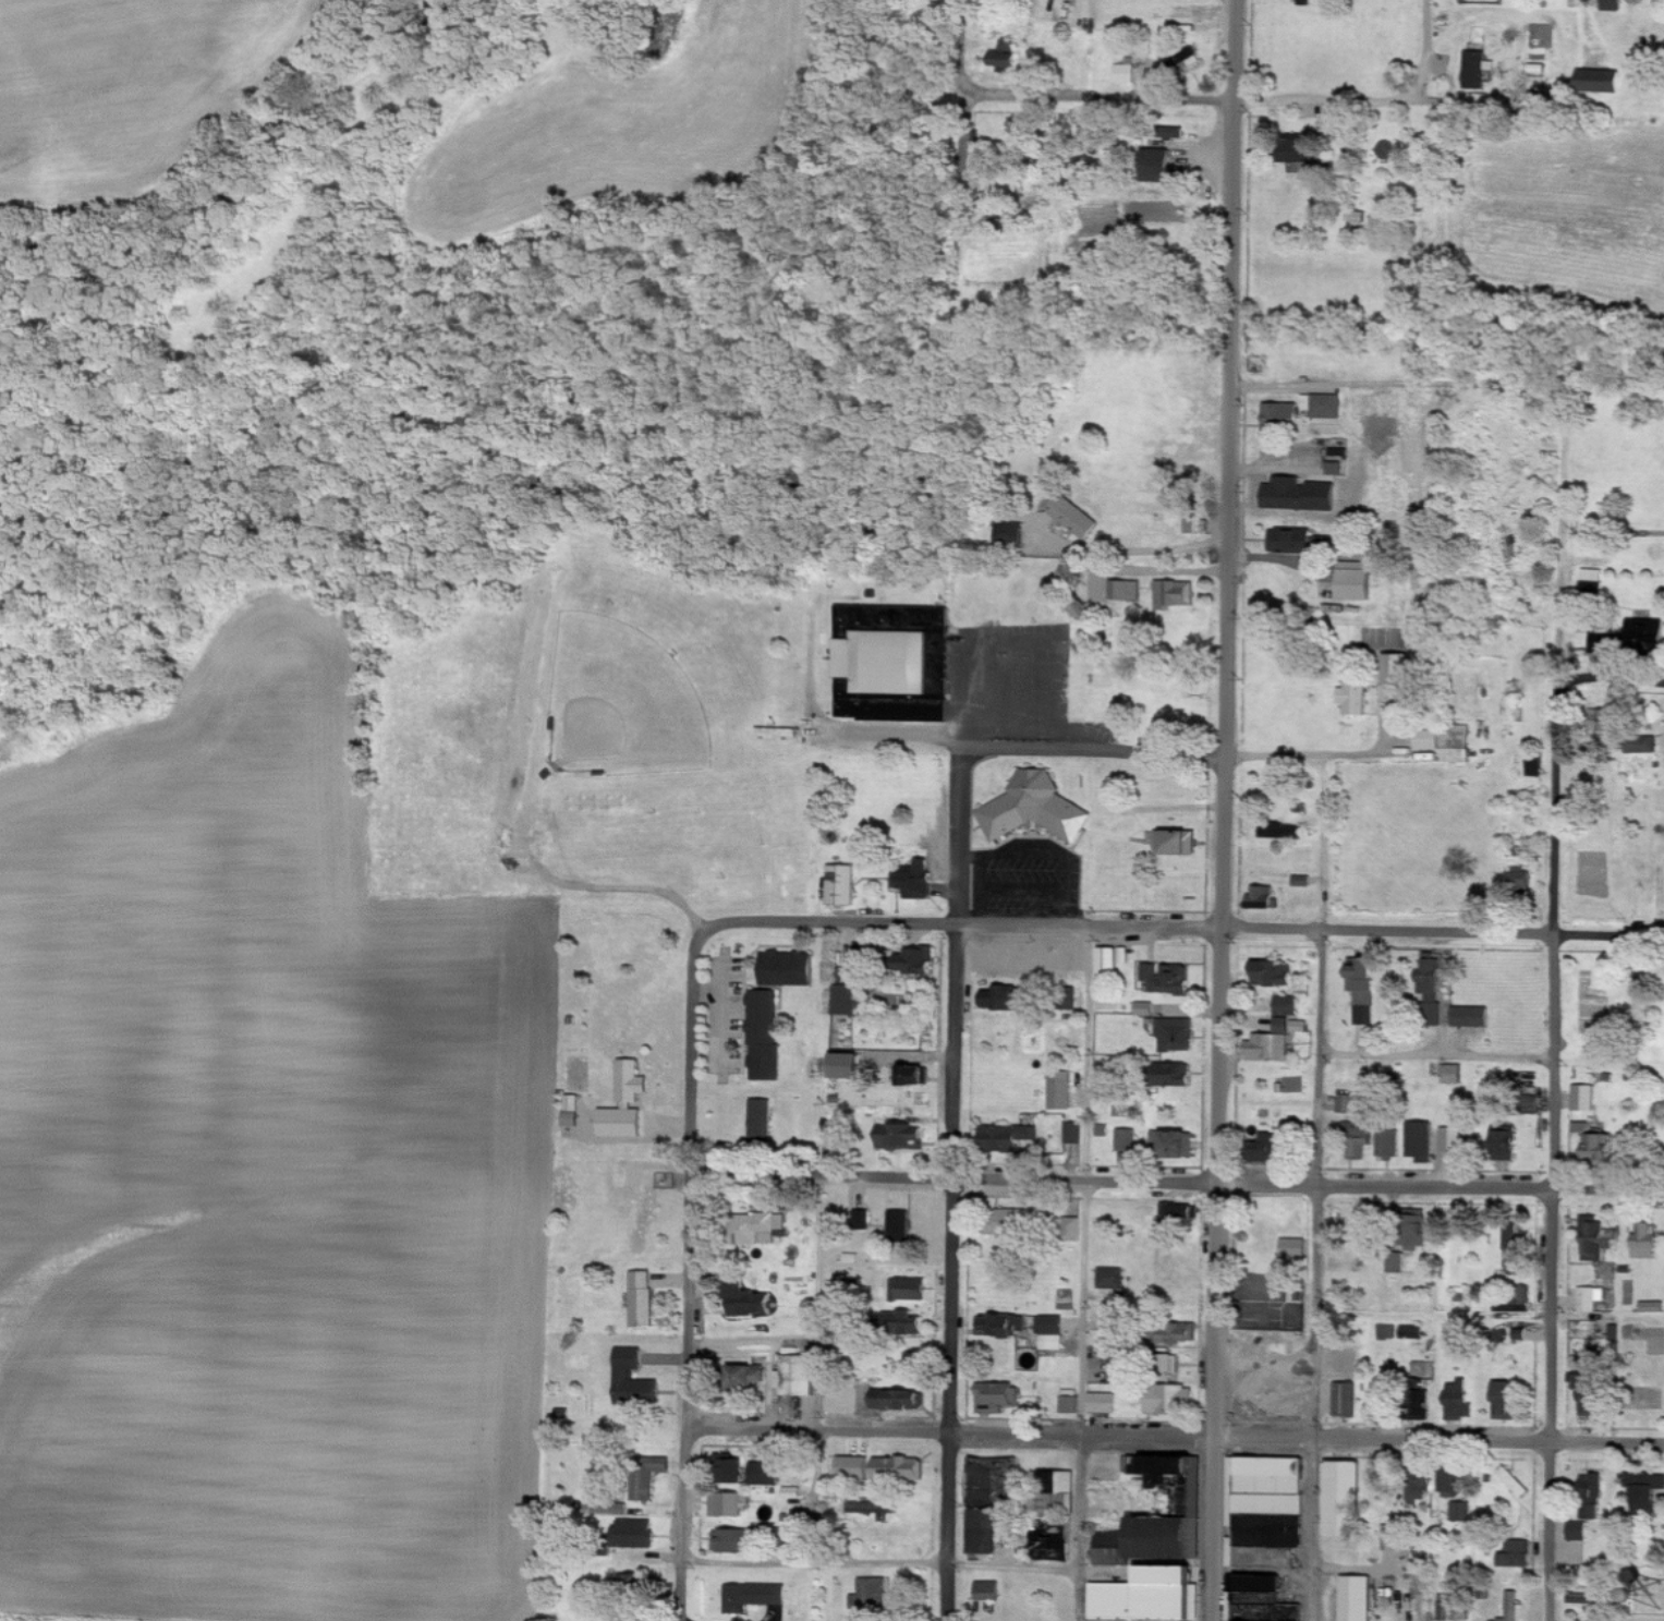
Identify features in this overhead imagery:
building: (1613, 4)
road: (965, 47)
road: (1425, 48)
building: (1008, 57)
building: (1474, 70)
building: (1126, 73)
building: (1537, 80)
building: (1601, 81)
road: (1092, 96)
road: (1316, 100)
building: (1300, 153)
building: (1159, 165)
road: (1383, 384)
building: (1321, 406)
building: (1282, 416)
building: (1335, 468)
building: (1282, 496)
building: (1076, 517)
building: (1190, 521)
building: (1013, 535)
building: (1291, 540)
road: (1126, 551)
building: (1591, 579)
building: (1359, 580)
building: (1125, 590)
building: (1175, 593)
building: (1649, 631)
building: (1600, 645)
building: (892, 663)
road: (1614, 691)
building: (1356, 695)
road: (1013, 723)
road: (912, 734)
building: (1430, 739)
building: (1643, 743)
building: (1457, 746)
road: (1351, 749)
road: (1128, 753)
building: (1535, 766)
building: (1035, 808)
road: (1210, 810)
building: (1282, 830)
building: (1178, 840)
building: (1523, 875)
building: (915, 880)
building: (1300, 881)
building: (841, 884)
road: (619, 891)
building: (1263, 897)
road: (1182, 927)
building: (918, 960)
building: (1113, 960)
building: (787, 968)
building: (1277, 972)
building: (1167, 978)
building: (1432, 980)
building: (1364, 987)
building: (1000, 997)
building: (845, 999)
road: (1553, 1003)
building: (1288, 1005)
building: (1145, 1008)
building: (1473, 1016)
building: (764, 1035)
building: (1178, 1035)
building: (1272, 1042)
road: (1435, 1055)
building: (847, 1065)
building: (1455, 1073)
building: (1177, 1074)
building: (921, 1075)
building: (1059, 1090)
building: (1584, 1098)
building: (627, 1102)
building: (1350, 1103)
building: (571, 1110)
building: (762, 1121)
building: (1584, 1126)
building: (1072, 1133)
building: (900, 1136)
building: (1362, 1137)
building: (1010, 1138)
building: (1126, 1139)
building: (1454, 1139)
building: (1422, 1140)
building: (1390, 1141)
building: (1174, 1142)
building: (1510, 1144)
building: (1272, 1146)
building: (1602, 1148)
road: (1317, 1180)
road: (1176, 1183)
road: (952, 1184)
building: (1180, 1212)
building: (862, 1220)
building: (1010, 1223)
building: (899, 1224)
building: (761, 1227)
building: (1072, 1229)
building: (1418, 1229)
building: (1595, 1239)
building: (1649, 1239)
building: (1295, 1247)
building: (1515, 1251)
building: (1396, 1263)
road: (1083, 1272)
road: (688, 1274)
building: (1110, 1278)
building: (911, 1289)
building: (746, 1296)
building: (642, 1298)
building: (1591, 1298)
building: (1516, 1301)
building: (1653, 1306)
building: (908, 1322)
building: (1003, 1324)
building: (1412, 1331)
building: (1049, 1332)
building: (1179, 1333)
building: (1121, 1369)
building: (801, 1375)
building: (752, 1376)
building: (634, 1380)
building: (1588, 1393)
building: (997, 1396)
building: (900, 1399)
building: (1347, 1399)
building: (1459, 1399)
building: (1171, 1400)
building: (1506, 1400)
building: (1102, 1402)
building: (1276, 1402)
building: (1069, 1404)
road: (1175, 1436)
building: (657, 1464)
building: (855, 1467)
building: (1171, 1467)
building: (731, 1468)
building: (899, 1468)
building: (765, 1474)
building: (1515, 1481)
building: (1059, 1484)
building: (1270, 1484)
building: (1436, 1485)
building: (1592, 1485)
building: (643, 1487)
building: (1647, 1491)
building: (792, 1492)
building: (1343, 1498)
building: (730, 1504)
building: (612, 1508)
building: (873, 1508)
building: (1461, 1511)
building: (1594, 1511)
building: (984, 1531)
building: (1579, 1531)
building: (637, 1534)
building: (1387, 1534)
building: (1264, 1536)
building: (1168, 1538)
building: (731, 1540)
building: (1112, 1548)
building: (1517, 1555)
road: (882, 1565)
road: (1380, 1569)
building: (628, 1582)
building: (1263, 1584)
building: (987, 1590)
building: (753, 1596)
building: (1152, 1596)
building: (870, 1597)
building: (1583, 1597)
building: (1358, 1598)
building: (1236, 1606)
building: (1454, 1607)
building: (1511, 1607)

